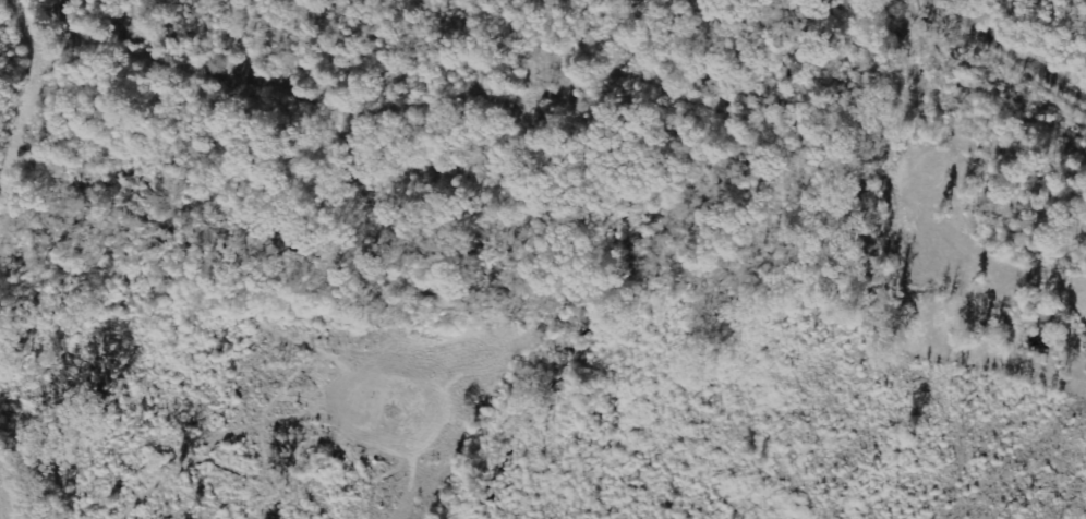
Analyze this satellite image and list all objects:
road: (1012, 49)

